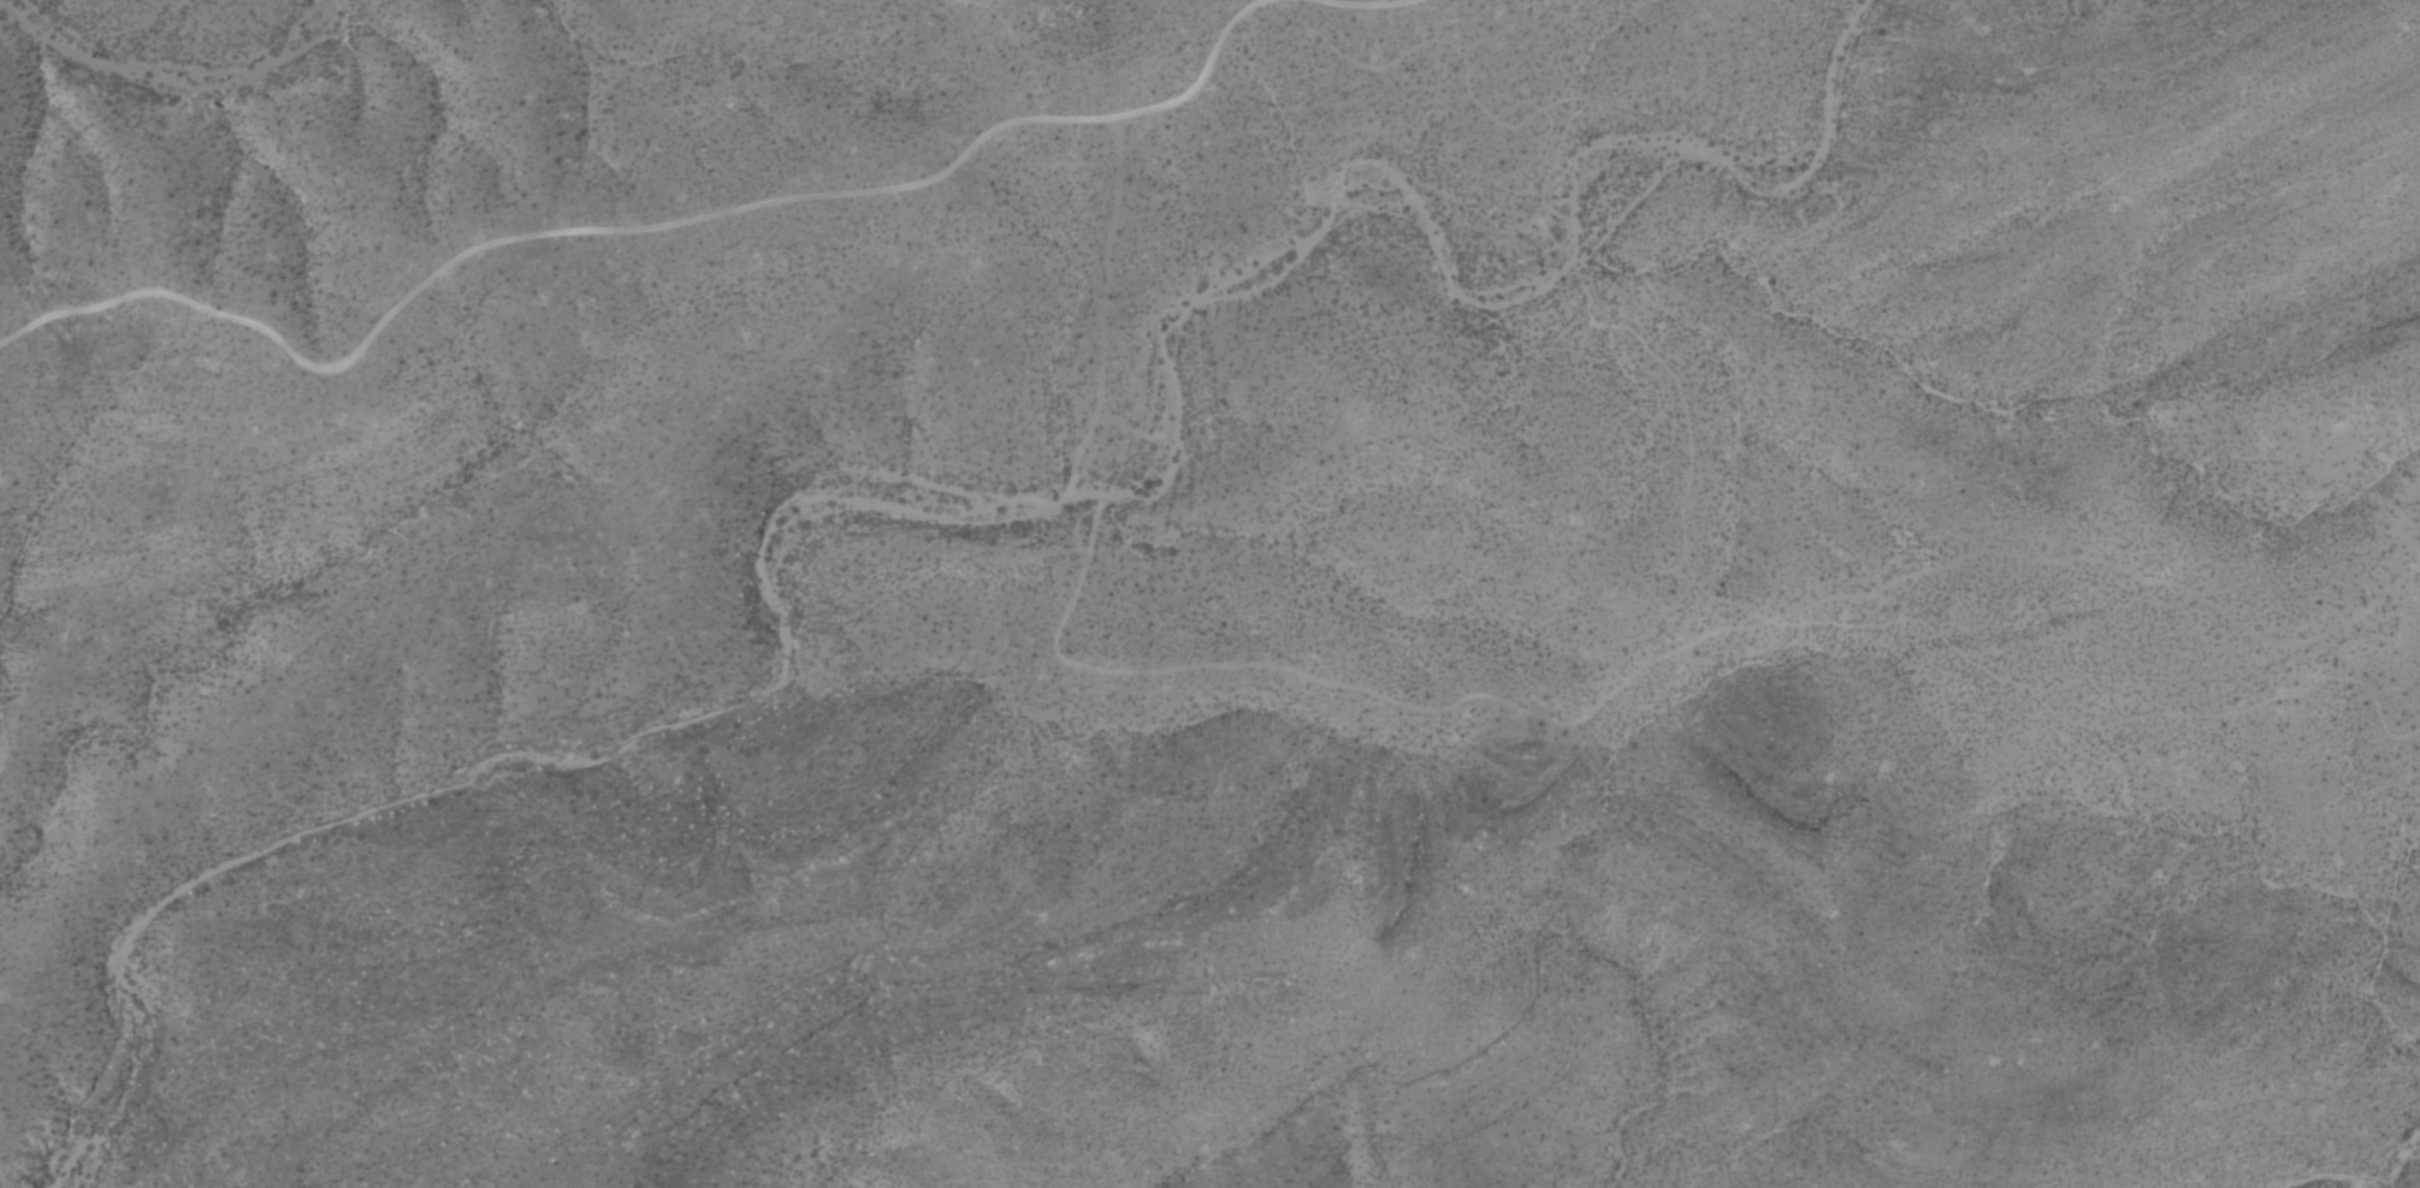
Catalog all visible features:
road: (1073, 51)
road: (1694, 548)

